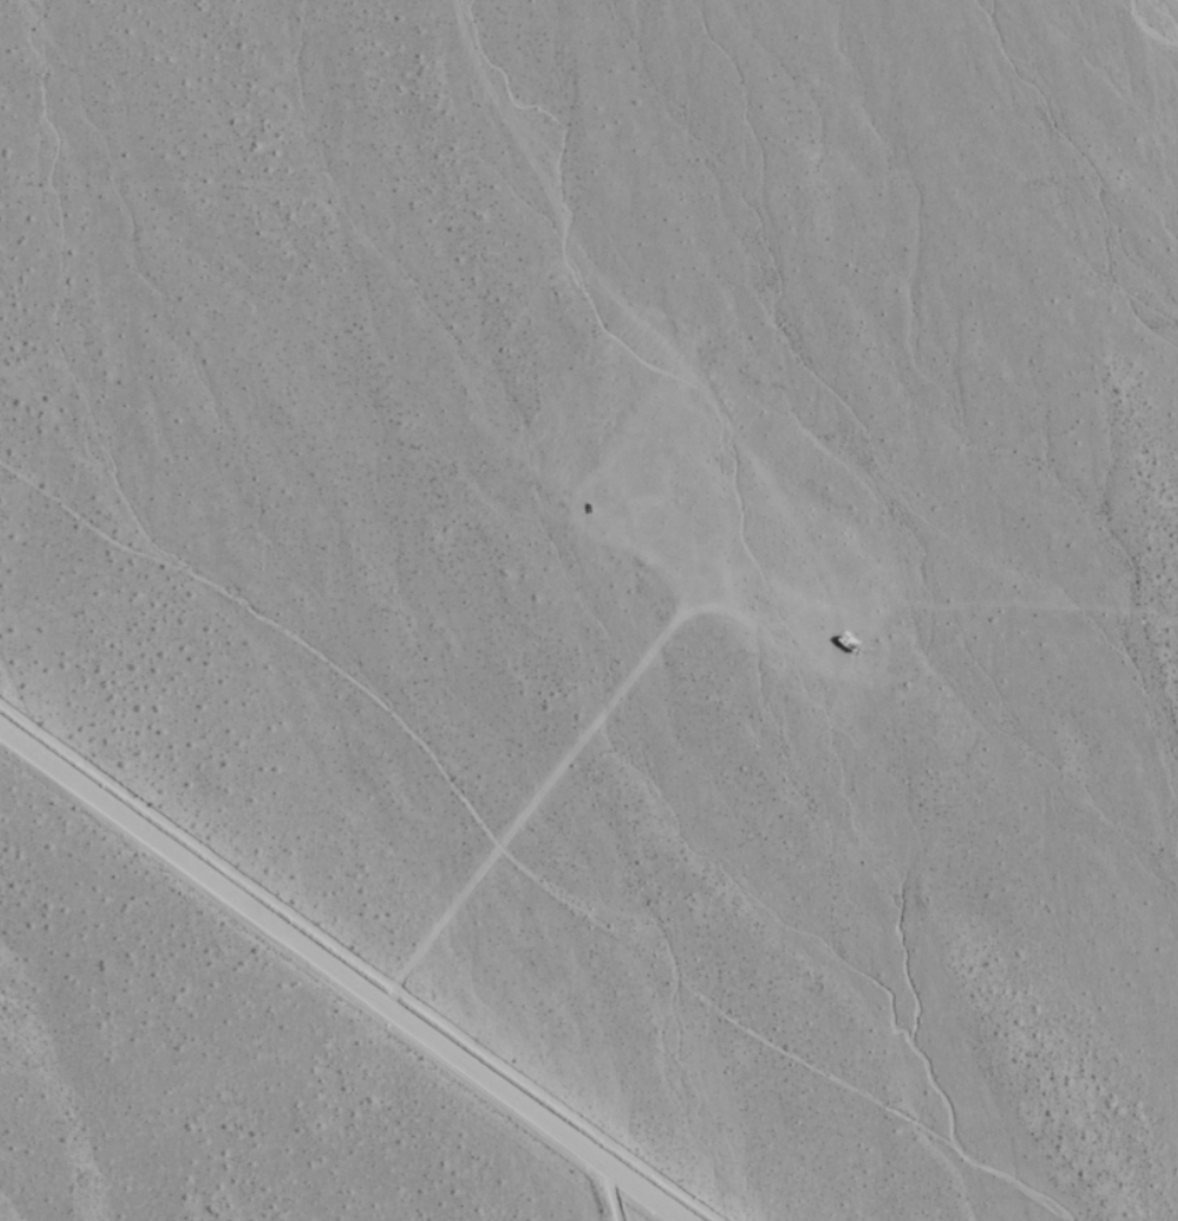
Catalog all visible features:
road: (345, 972)

